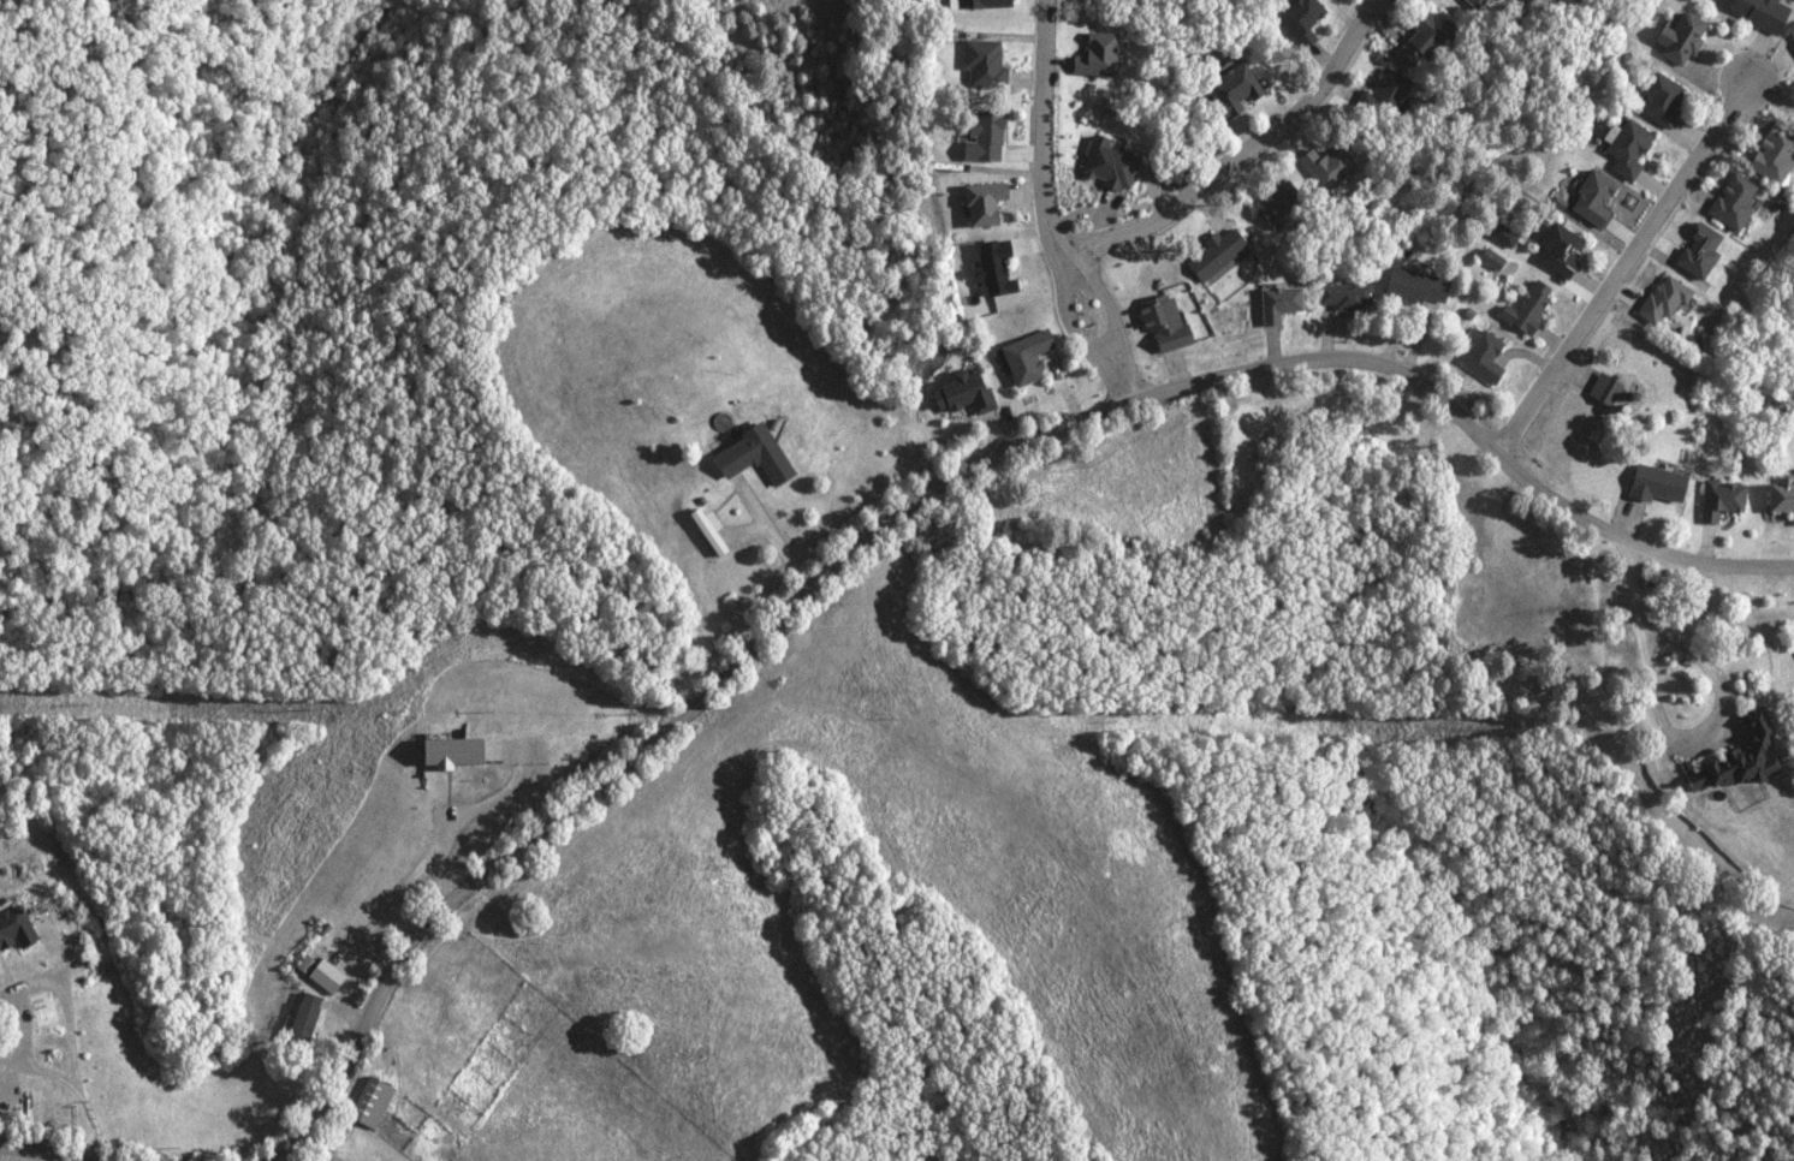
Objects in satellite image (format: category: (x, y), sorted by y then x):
building: (1471, 2)
building: (973, 4)
building: (1753, 12)
building: (1296, 19)
building: (1789, 36)
building: (1675, 37)
building: (1091, 54)
building: (979, 62)
building: (1228, 91)
building: (1378, 93)
building: (1656, 99)
building: (978, 137)
building: (1622, 147)
building: (1769, 155)
road: (1244, 157)
building: (1104, 165)
building: (1324, 166)
building: (1588, 200)
building: (978, 202)
building: (1727, 202)
building: (1271, 203)
road: (1050, 209)
building: (1501, 236)
building: (1555, 249)
building: (1694, 251)
building: (1210, 254)
building: (1486, 258)
building: (987, 268)
road: (1623, 270)
building: (1409, 286)
building: (1339, 296)
building: (1661, 299)
building: (1272, 304)
building: (1522, 308)
building: (1157, 322)
building: (1477, 355)
building: (1020, 357)
building: (1600, 391)
building: (957, 393)
building: (747, 456)
road: (970, 464)
building: (1650, 483)
building: (1717, 499)
building: (1778, 499)
building: (705, 530)
road: (770, 532)
road: (1665, 732)
building: (445, 750)
building: (1734, 755)
road: (487, 800)
road: (372, 922)
building: (12, 925)
building: (320, 974)
road: (64, 1008)
building: (299, 1017)
road: (42, 1070)
building: (366, 1100)
road: (308, 1126)
road: (87, 1127)
road: (36, 1150)

